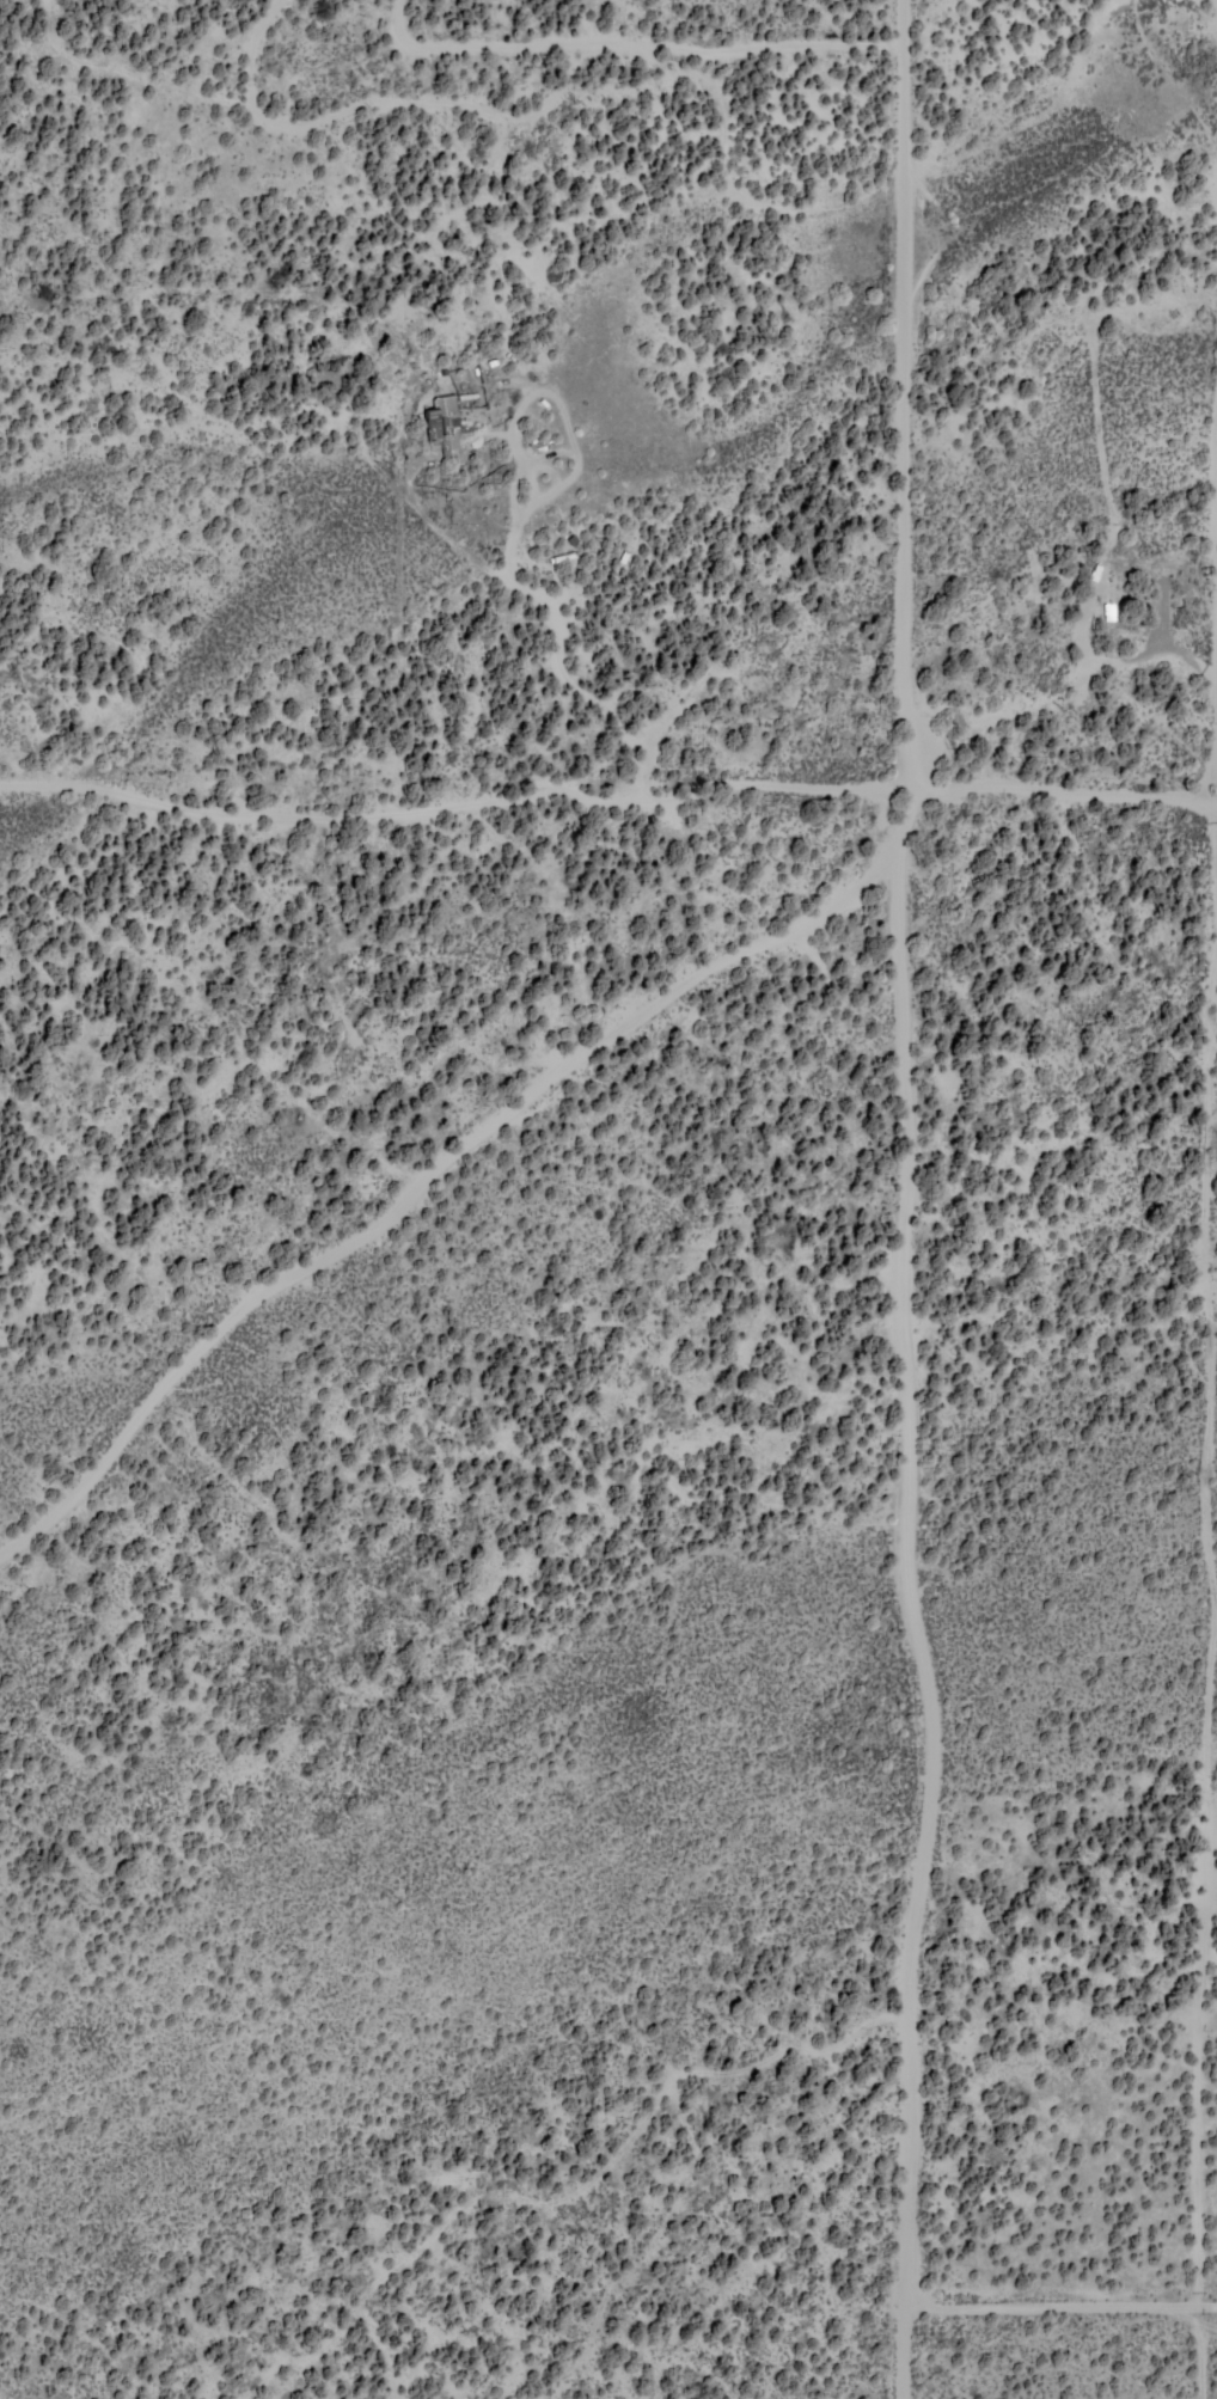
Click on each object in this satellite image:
road: (226, 45)
road: (435, 222)
road: (912, 338)
building: (444, 424)
building: (1109, 611)
road: (1078, 613)
road: (667, 754)
road: (405, 889)
road: (417, 1132)
road: (420, 1399)
road: (893, 1531)

